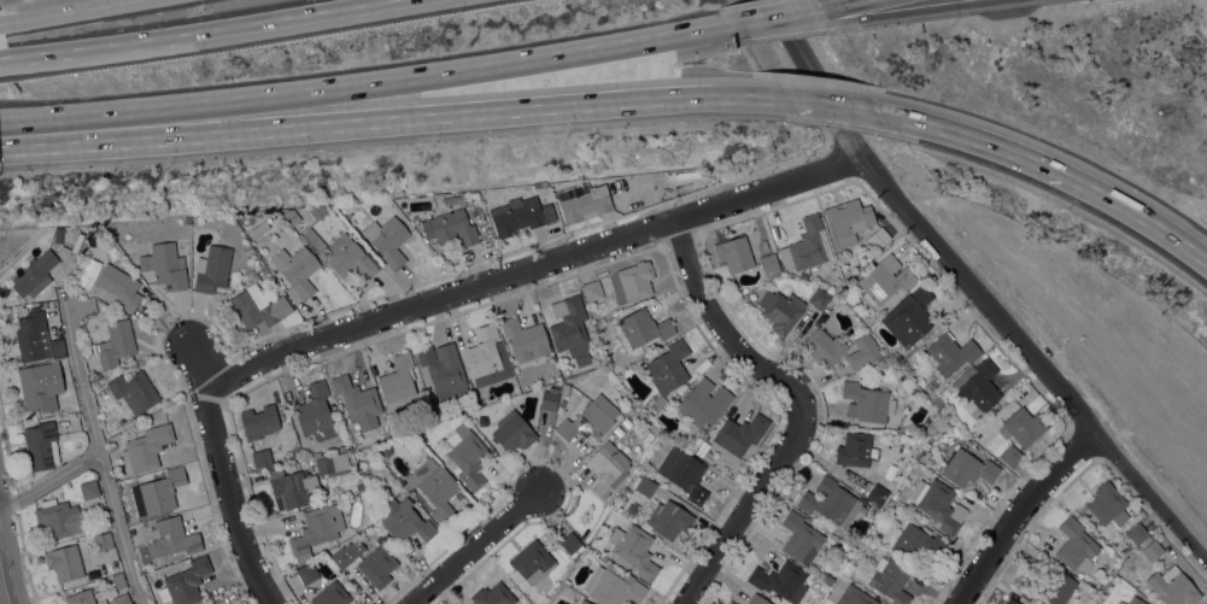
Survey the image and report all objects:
road: (845, 5)
road: (47, 7)
road: (920, 12)
road: (287, 17)
road: (784, 17)
road: (736, 27)
road: (790, 27)
road: (737, 29)
road: (90, 46)
road: (363, 88)
road: (818, 99)
road: (377, 117)
road: (1, 142)
road: (1053, 166)
building: (539, 184)
building: (582, 200)
building: (317, 210)
building: (292, 215)
building: (520, 215)
building: (188, 219)
building: (848, 221)
building: (259, 228)
building: (451, 228)
building: (312, 238)
building: (879, 238)
building: (70, 240)
building: (387, 240)
road: (6, 241)
building: (804, 246)
building: (247, 251)
building: (734, 253)
building: (350, 258)
building: (768, 263)
building: (164, 265)
road: (535, 268)
building: (212, 270)
building: (295, 270)
building: (34, 274)
building: (803, 275)
building: (632, 281)
building: (883, 281)
building: (836, 282)
building: (118, 287)
building: (592, 289)
road: (977, 289)
building: (819, 298)
building: (258, 309)
building: (780, 310)
building: (908, 316)
building: (569, 328)
building: (640, 329)
building: (35, 338)
building: (525, 338)
building: (112, 344)
building: (824, 347)
building: (863, 351)
building: (951, 353)
building: (896, 356)
building: (487, 357)
building: (443, 369)
building: (668, 369)
building: (64, 370)
building: (398, 383)
building: (931, 385)
building: (978, 385)
building: (37, 388)
building: (133, 391)
building: (913, 391)
building: (549, 398)
building: (357, 401)
building: (703, 401)
building: (867, 401)
building: (561, 403)
building: (939, 403)
road: (799, 405)
building: (315, 412)
building: (259, 421)
building: (626, 422)
building: (585, 423)
building: (1023, 427)
building: (617, 430)
building: (512, 432)
building: (740, 433)
building: (980, 433)
building: (41, 445)
road: (98, 445)
building: (147, 446)
building: (854, 448)
building: (288, 456)
building: (1010, 456)
building: (467, 457)
building: (262, 458)
building: (332, 464)
building: (608, 468)
building: (967, 468)
building: (684, 473)
road: (227, 476)
road: (49, 477)
building: (643, 485)
building: (434, 486)
building: (291, 488)
building: (89, 489)
building: (157, 492)
building: (975, 493)
building: (877, 494)
building: (831, 502)
building: (938, 504)
building: (1107, 504)
road: (1018, 511)
building: (57, 517)
building: (668, 518)
building: (404, 520)
building: (862, 524)
building: (316, 529)
building: (1137, 533)
building: (170, 538)
building: (801, 538)
building: (102, 541)
building: (570, 543)
building: (918, 543)
road: (479, 547)
building: (633, 550)
building: (1078, 550)
building: (1152, 550)
building: (344, 555)
building: (600, 557)
building: (64, 562)
building: (377, 563)
building: (531, 563)
building: (839, 564)
building: (306, 573)
building: (828, 579)
building: (780, 580)
building: (890, 580)
building: (119, 581)
building: (184, 582)
building: (613, 585)
building: (1172, 586)
building: (1057, 587)
road: (2, 588)
building: (857, 590)
building: (330, 594)
building: (492, 594)
building: (82, 598)
building: (121, 599)
building: (757, 599)
building: (865, 599)
building: (1010, 600)
building: (1135, 600)
building: (584, 602)
building: (205, 603)
building: (731, 603)
building: (1121, 603)

